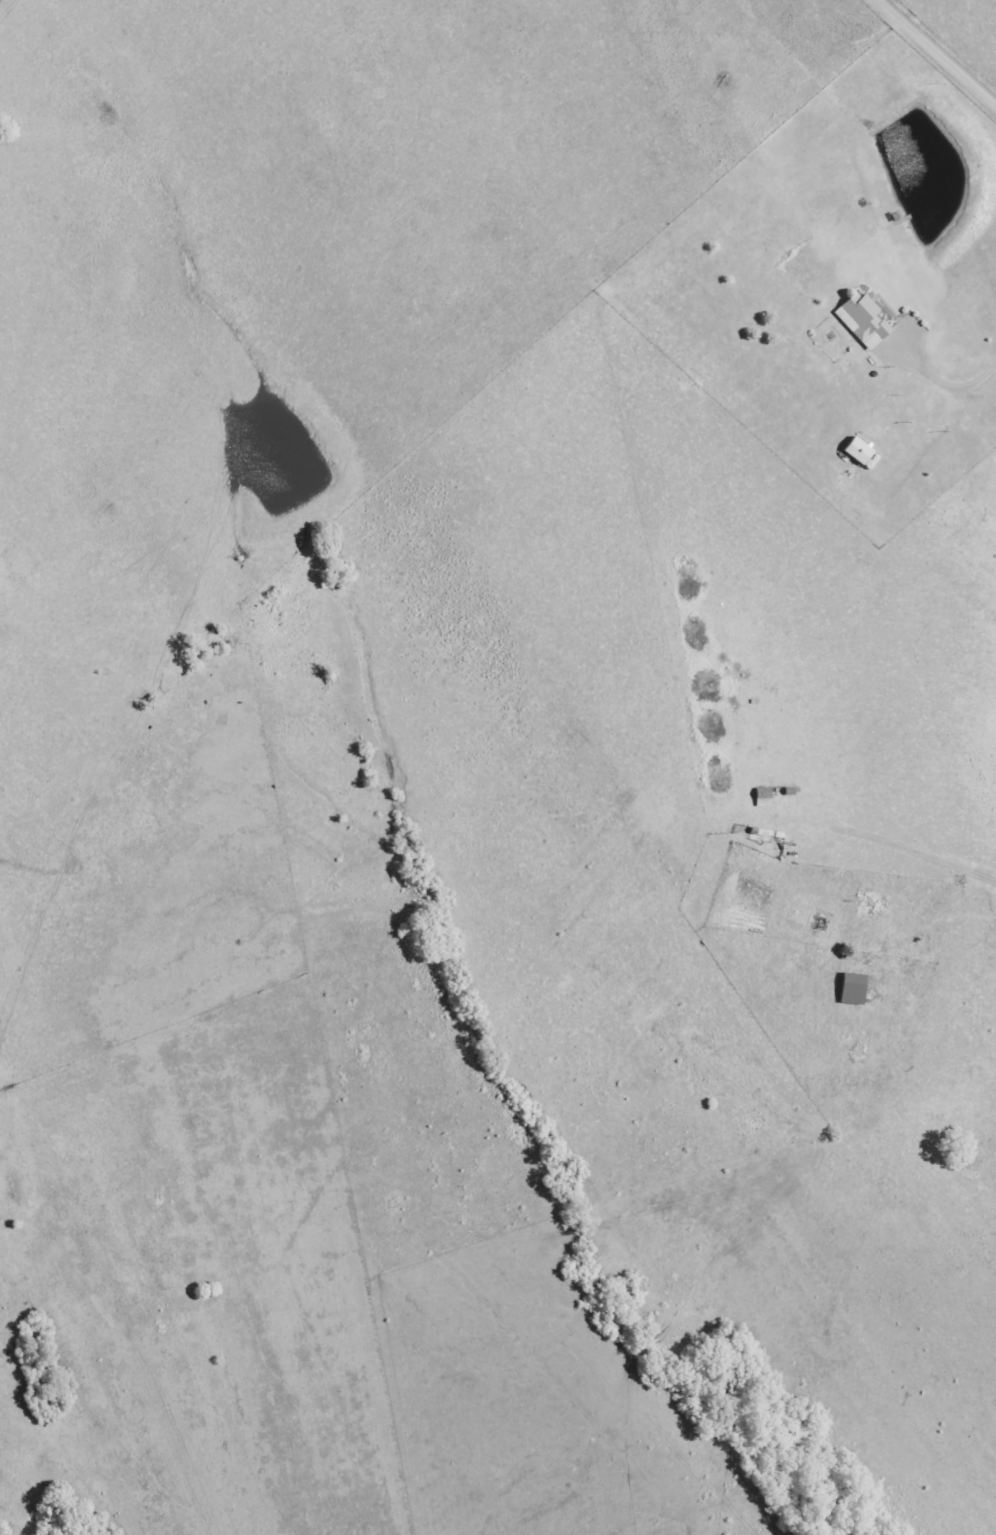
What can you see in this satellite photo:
road: (937, 50)
building: (861, 320)
building: (856, 450)
building: (851, 988)
road: (946, 1061)

